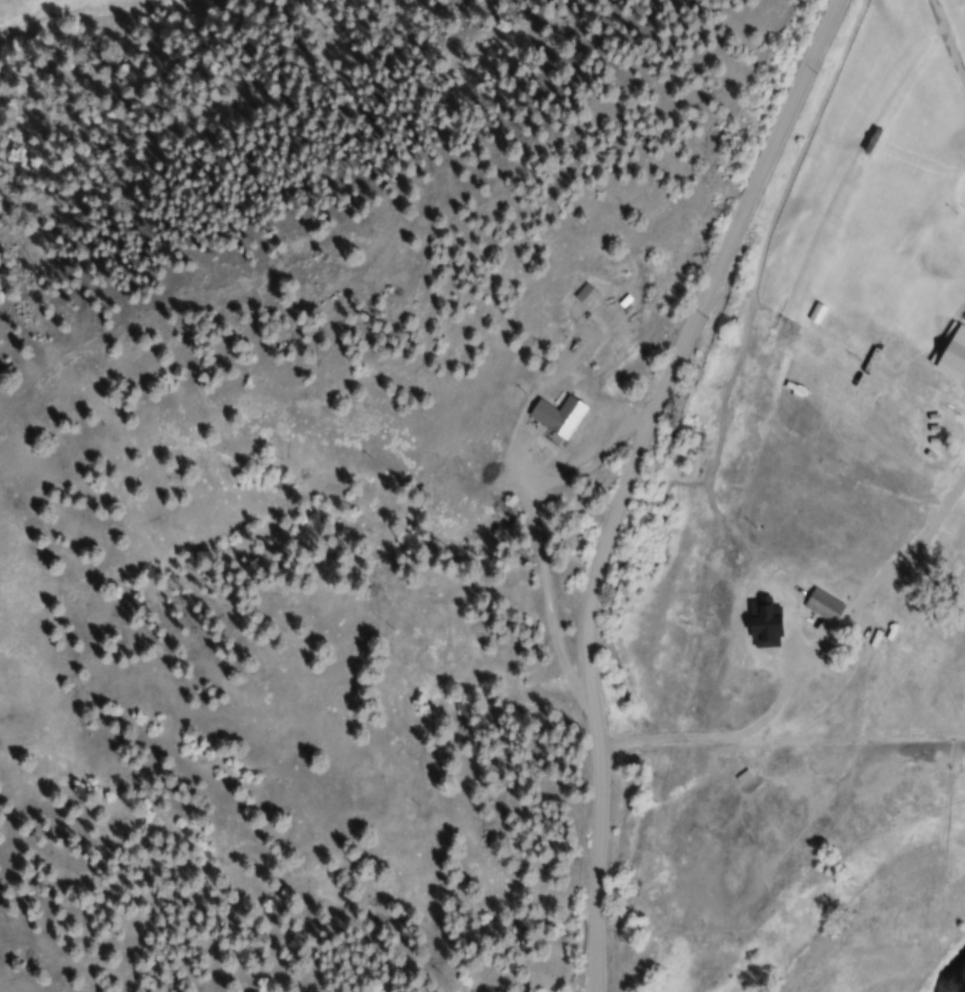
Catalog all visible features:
building: (586, 295)
building: (964, 376)
building: (560, 415)
road: (626, 478)
building: (800, 591)
building: (888, 593)

